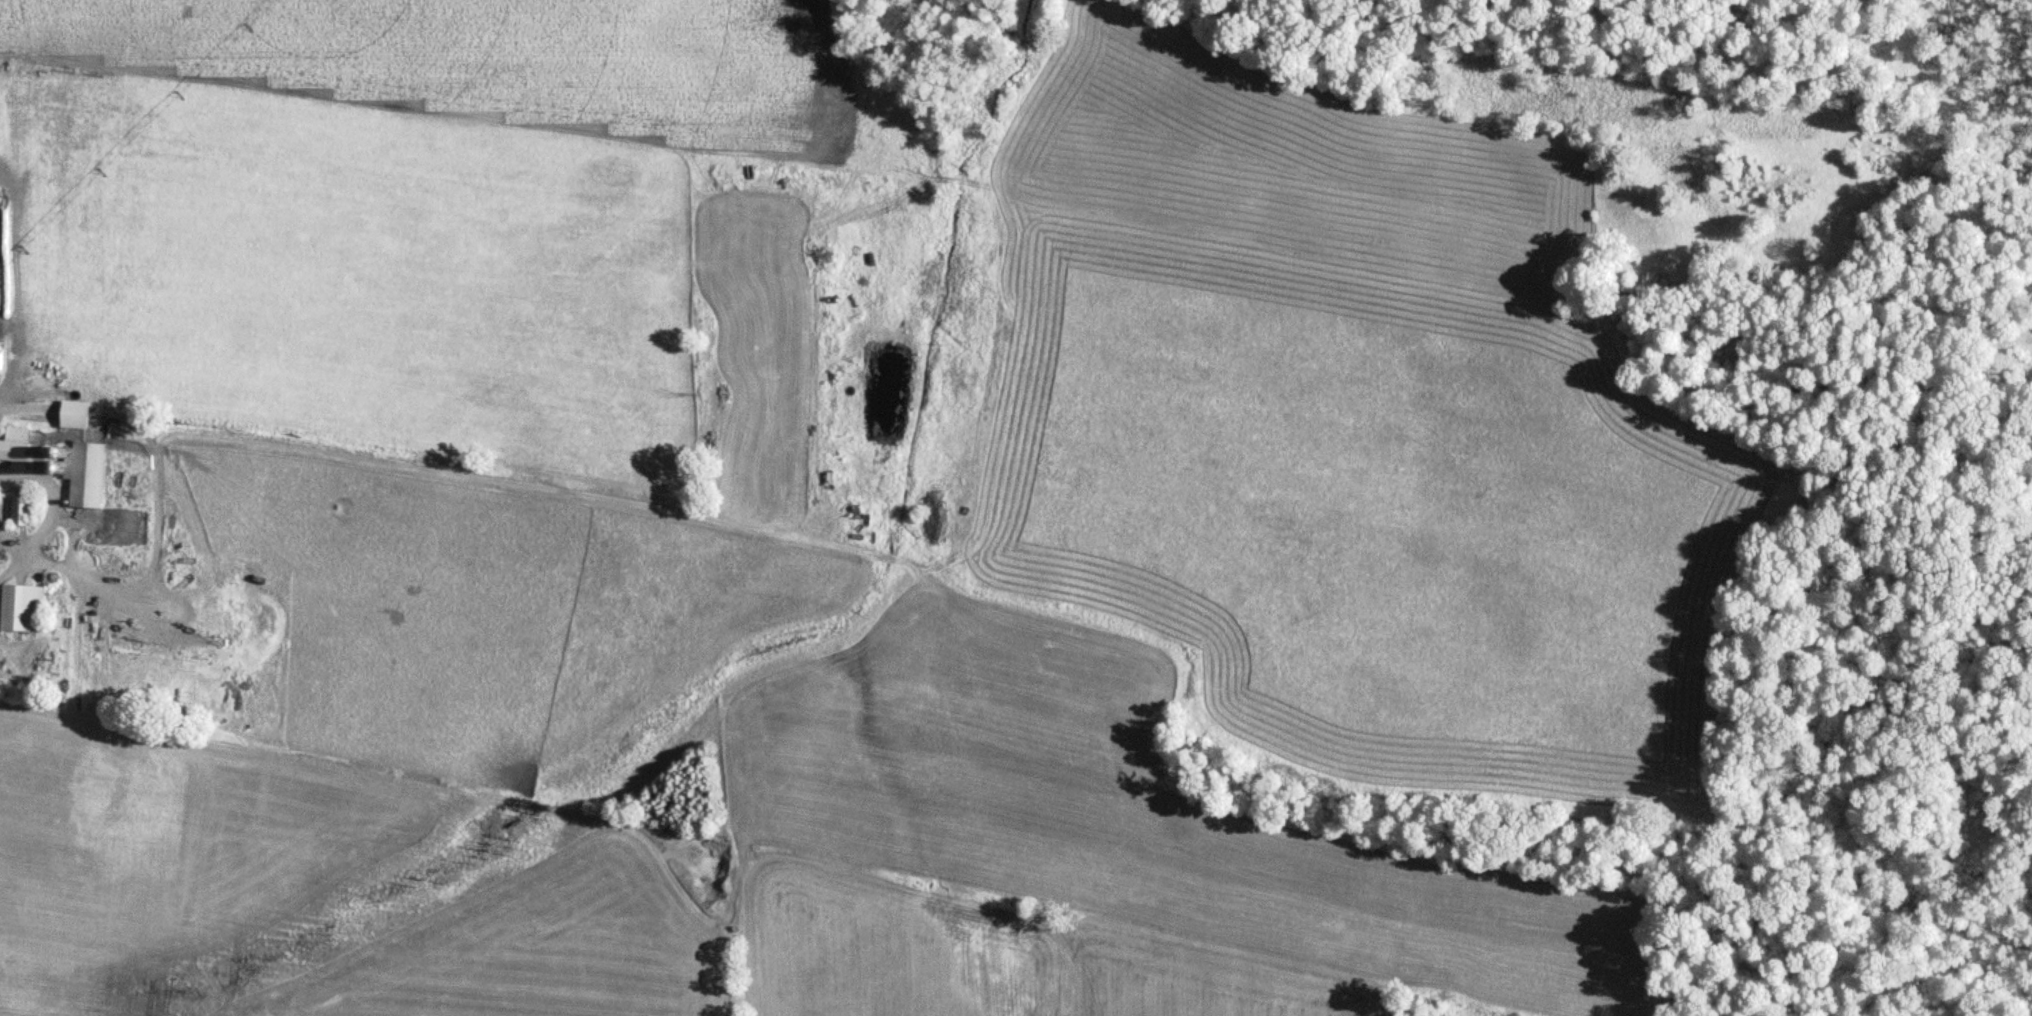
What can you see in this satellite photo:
building: (72, 414)
building: (14, 447)
building: (790, 467)
building: (82, 473)
building: (19, 510)
road: (9, 562)
road: (127, 579)
building: (20, 608)
road: (107, 721)

